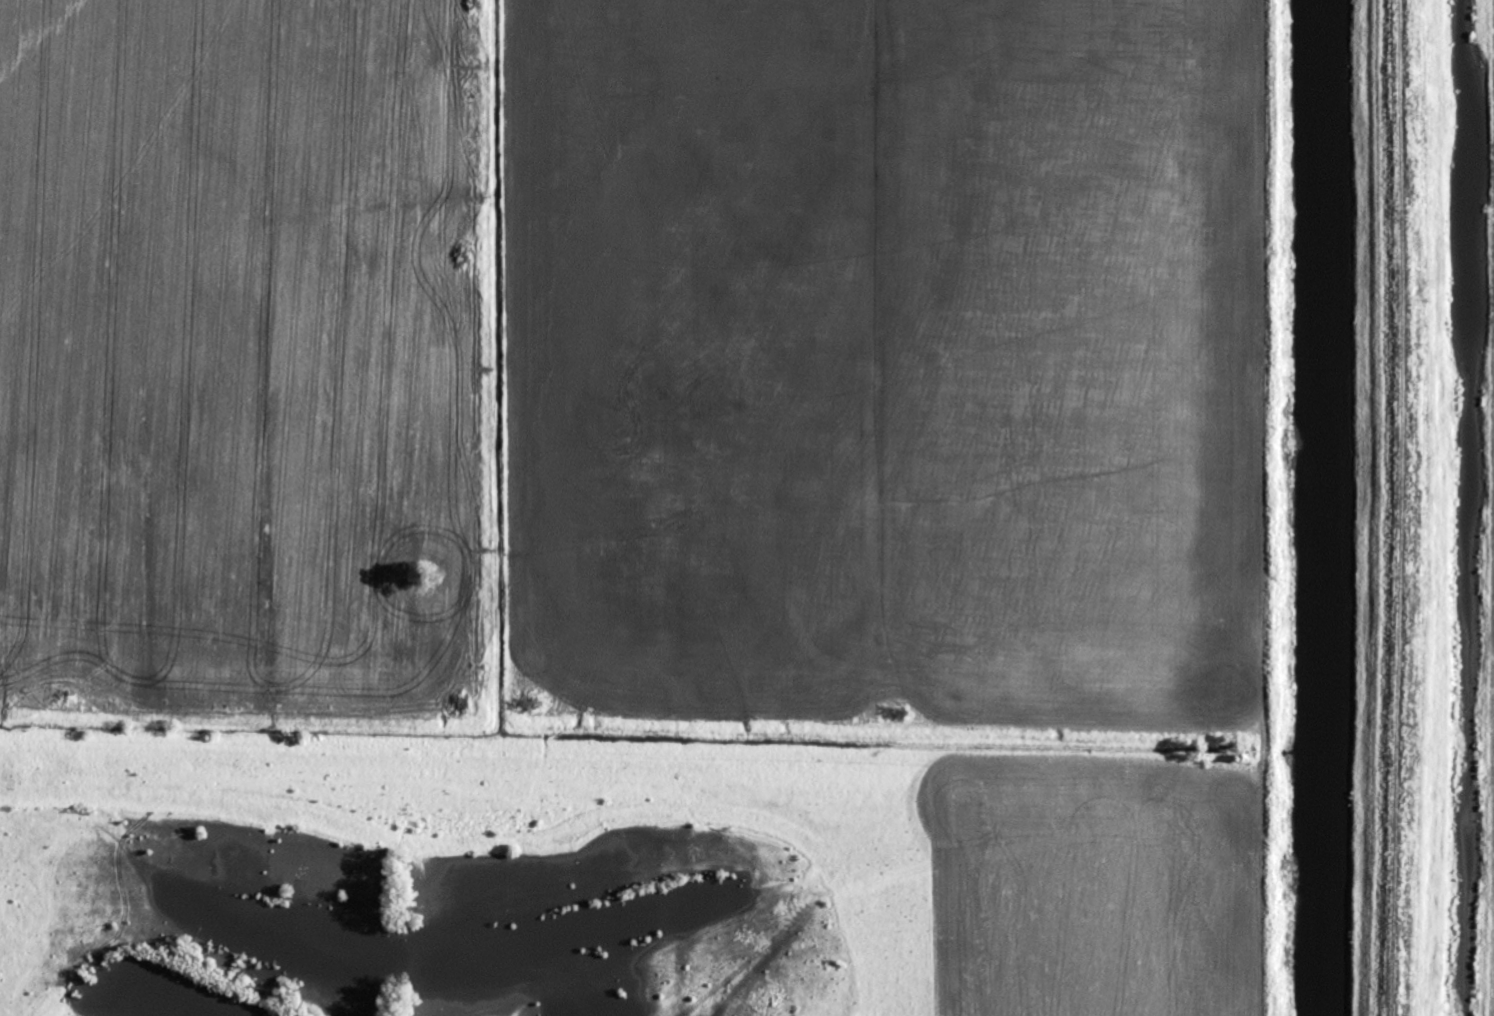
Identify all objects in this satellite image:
river: (1316, 507)
road: (1266, 508)

